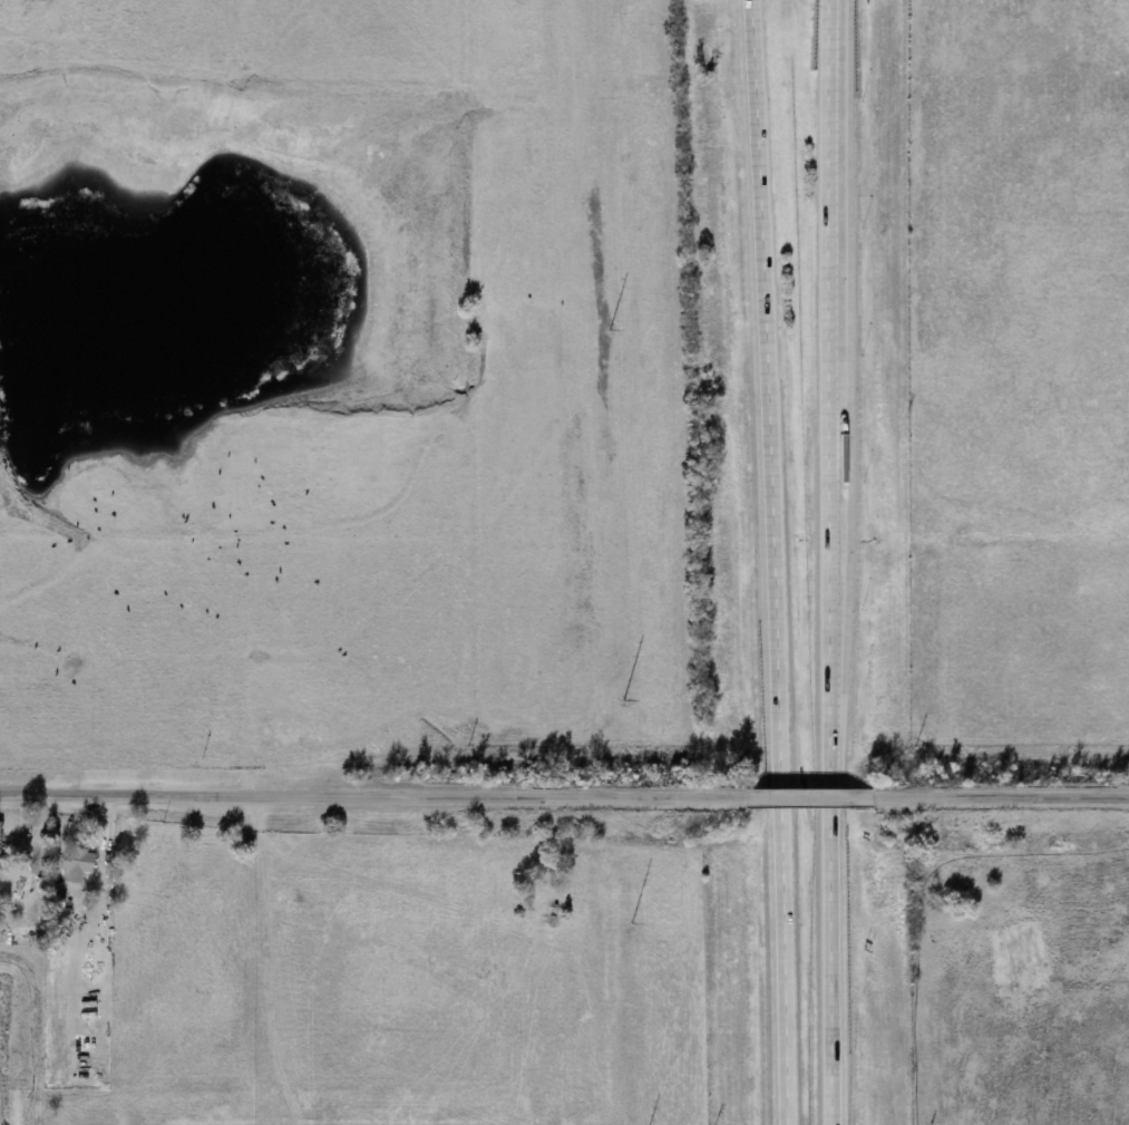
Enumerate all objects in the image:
road: (817, 266)
road: (756, 396)
road: (819, 662)
road: (361, 799)
road: (993, 801)
road: (790, 802)
road: (772, 803)
road: (821, 803)
building: (0, 845)
building: (78, 864)
road: (773, 969)
road: (821, 969)

